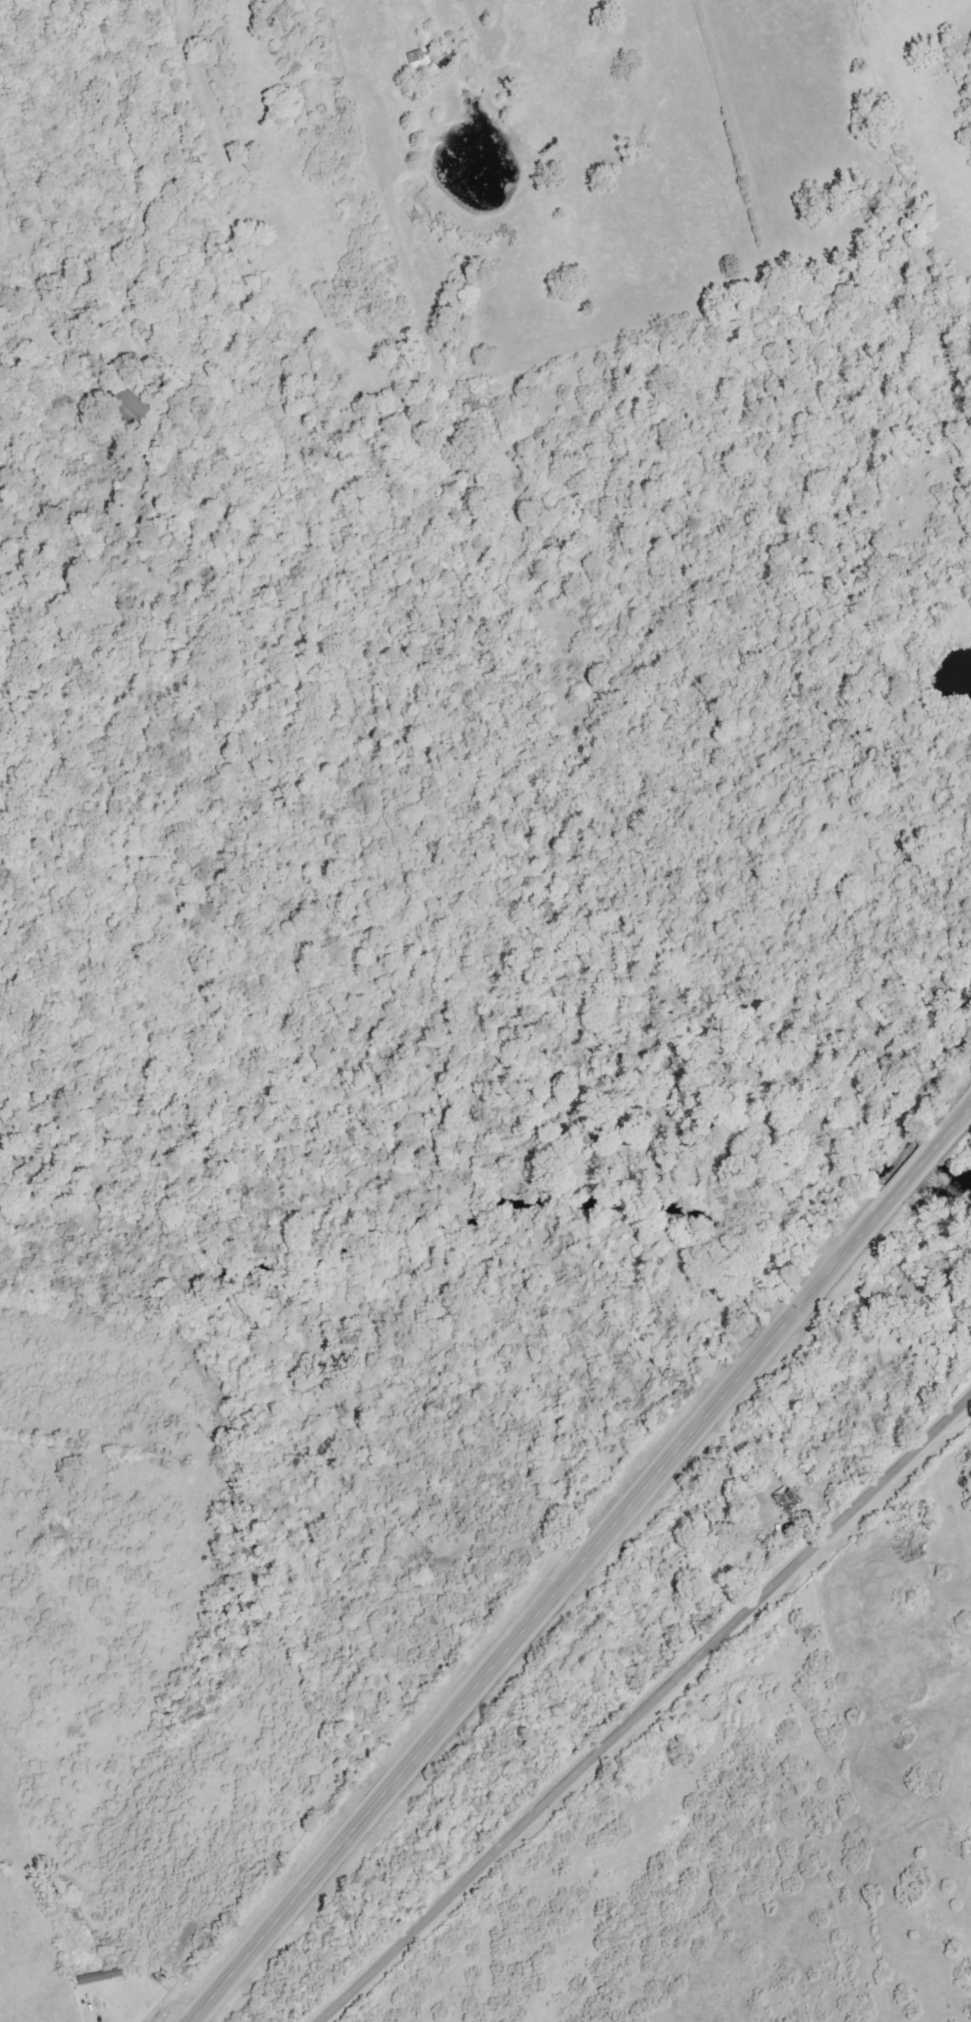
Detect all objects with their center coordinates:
road: (137, 258)
road: (583, 1566)
road: (646, 1711)
road: (97, 2008)

